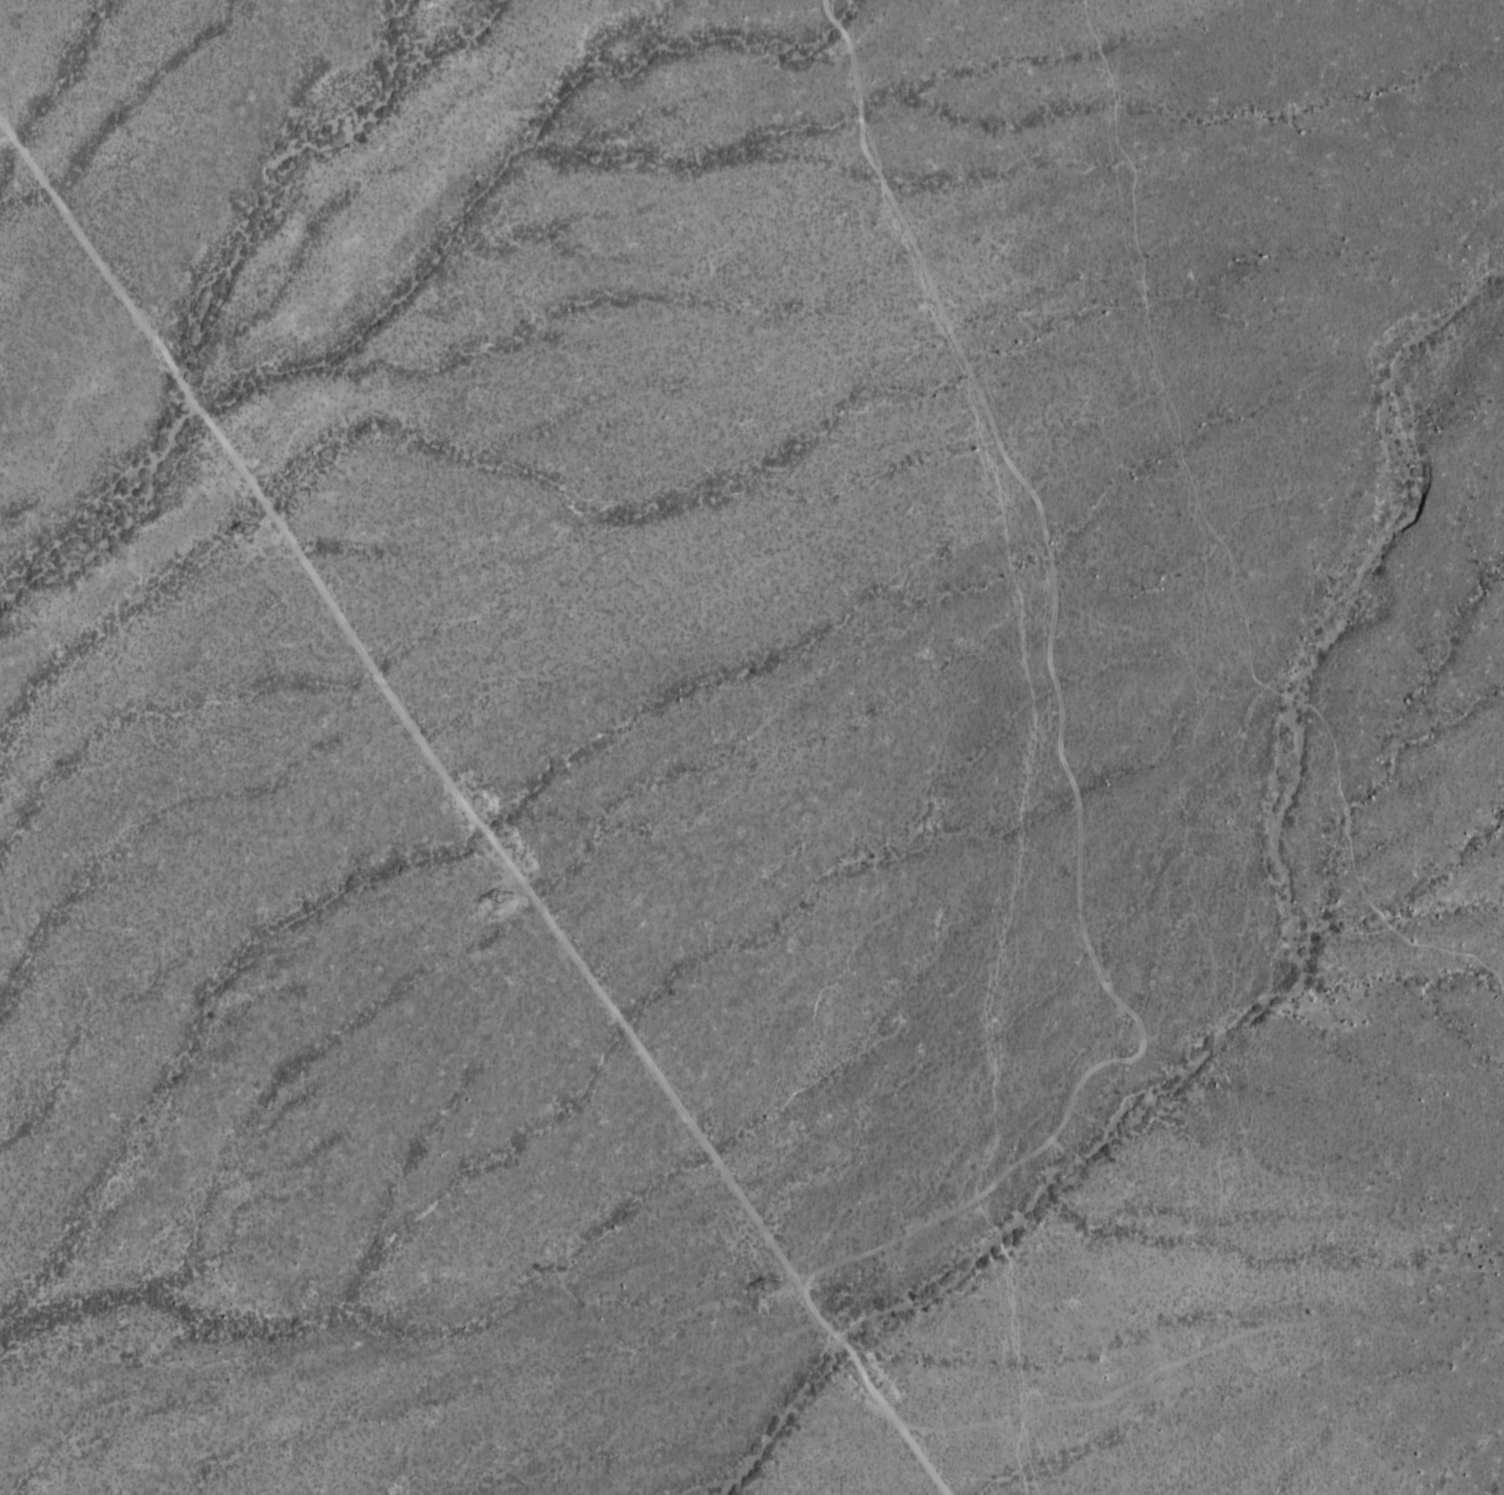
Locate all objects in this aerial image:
power tower: (254, 524)
road: (1227, 554)
road: (1059, 723)
road: (470, 809)
power tower: (507, 893)
power tower: (775, 1284)

